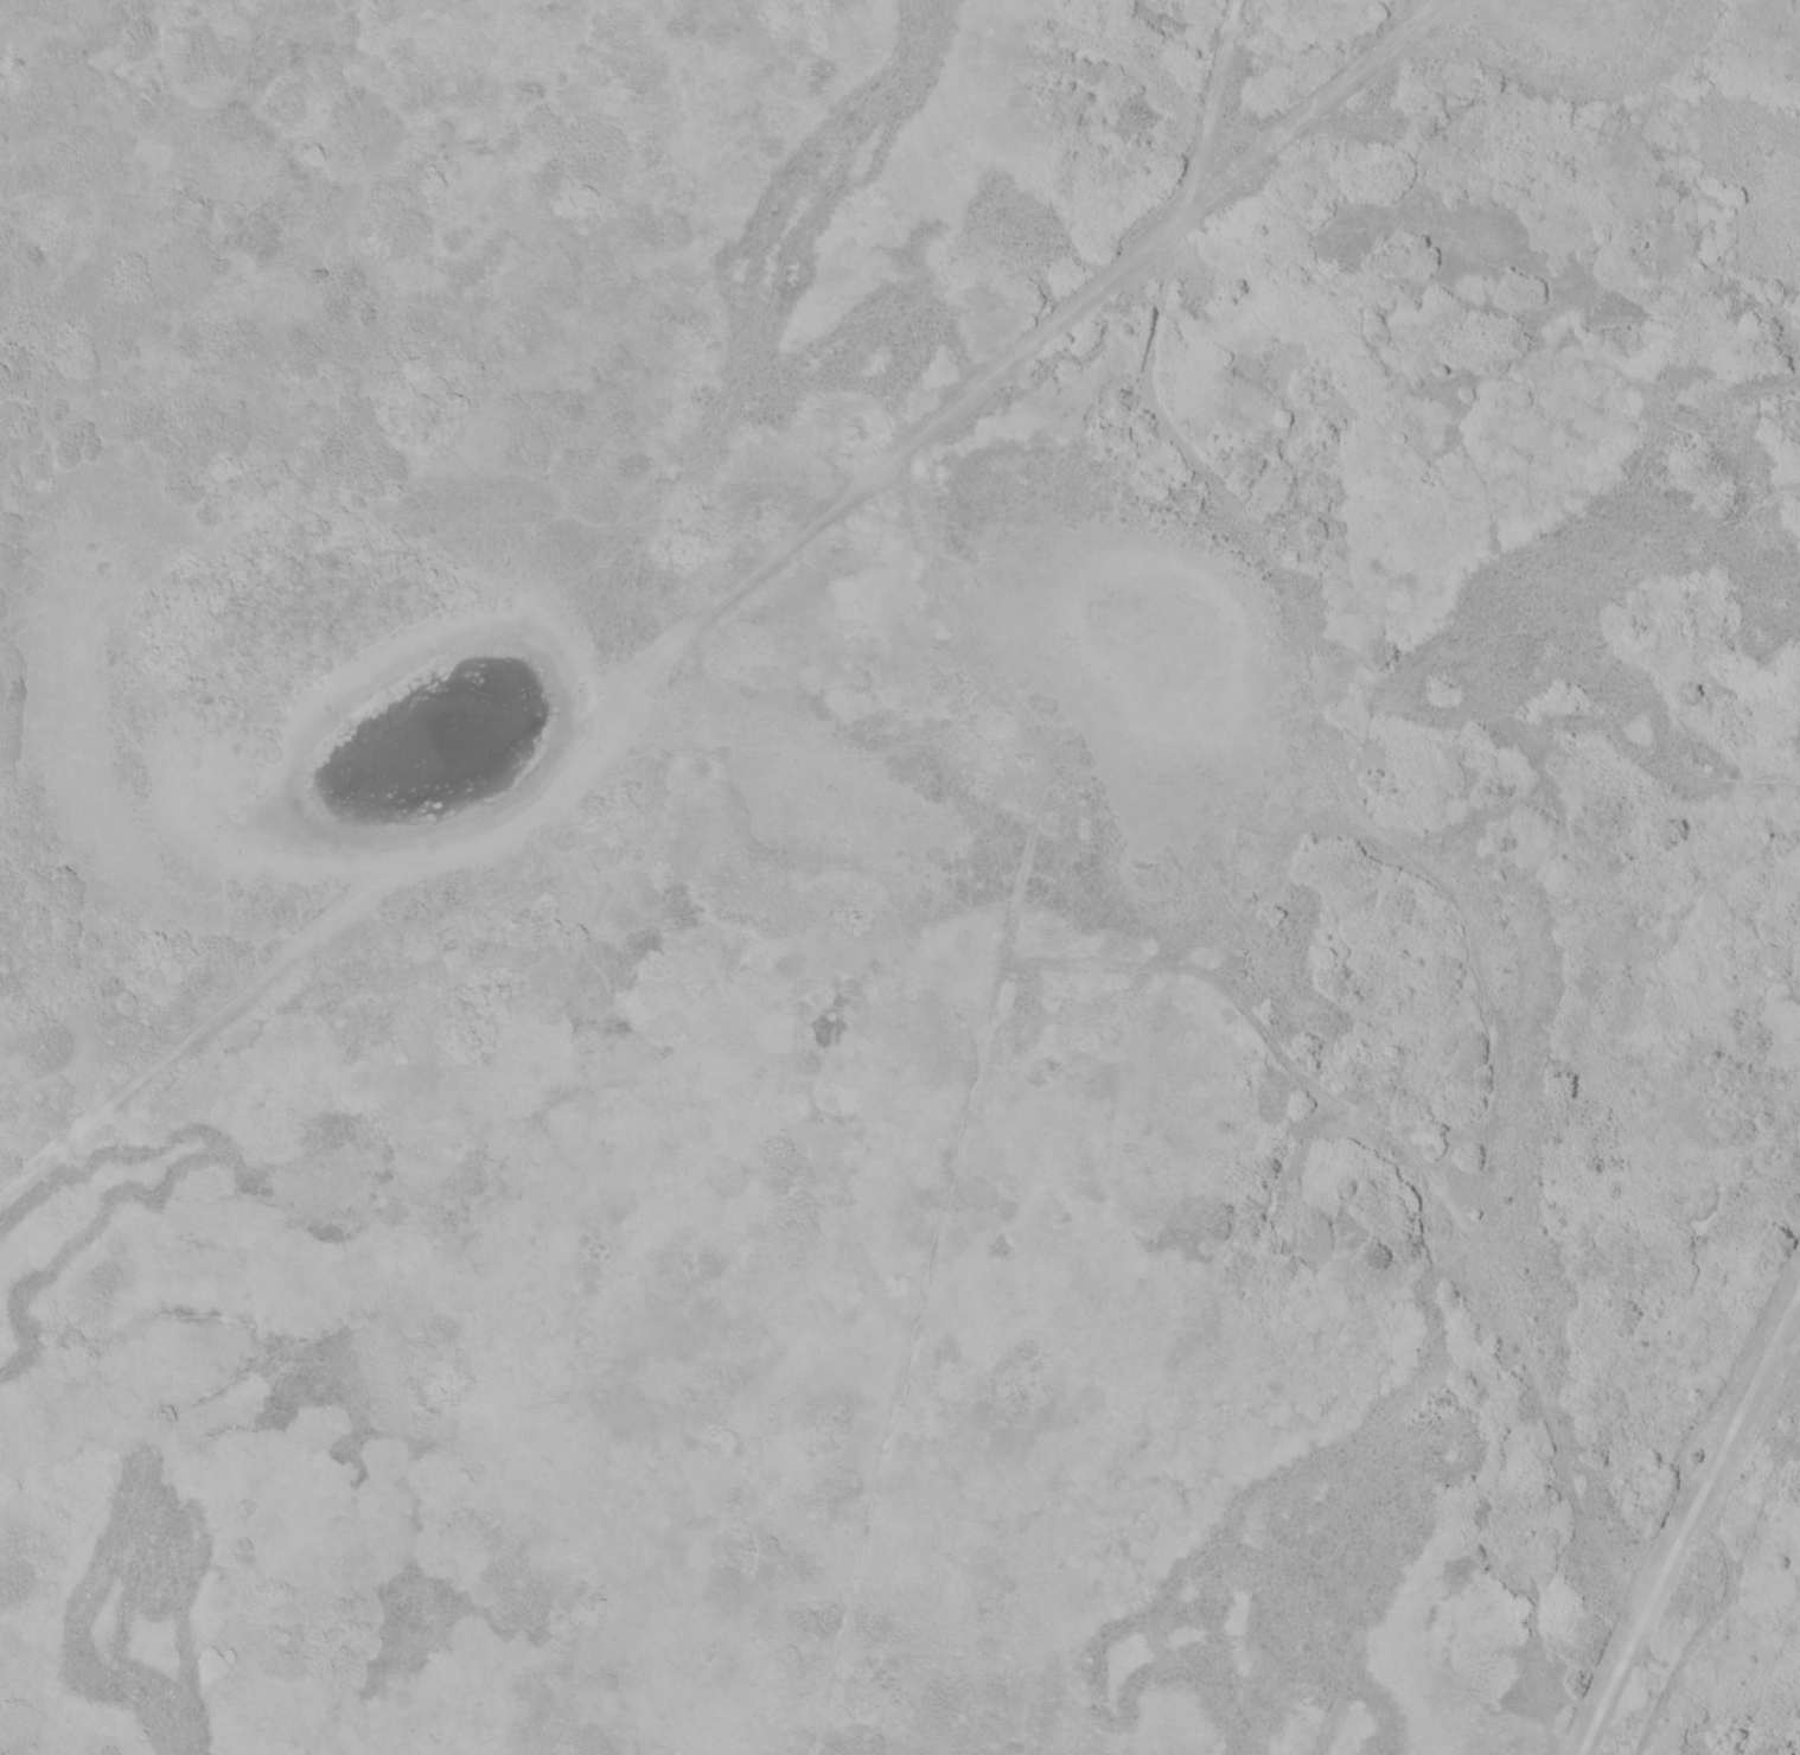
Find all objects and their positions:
road: (1674, 1498)

